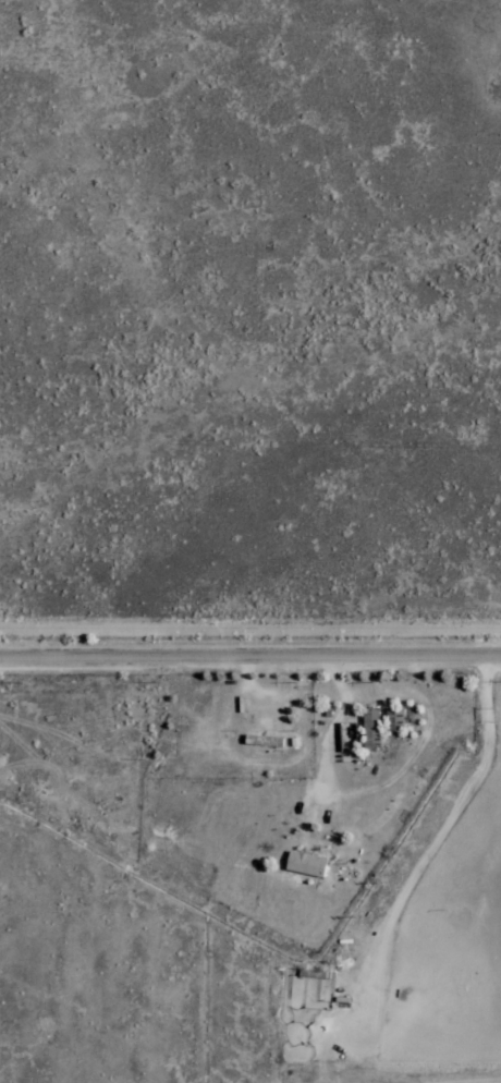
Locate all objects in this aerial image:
road: (250, 648)
building: (398, 719)
building: (375, 727)
building: (309, 864)

